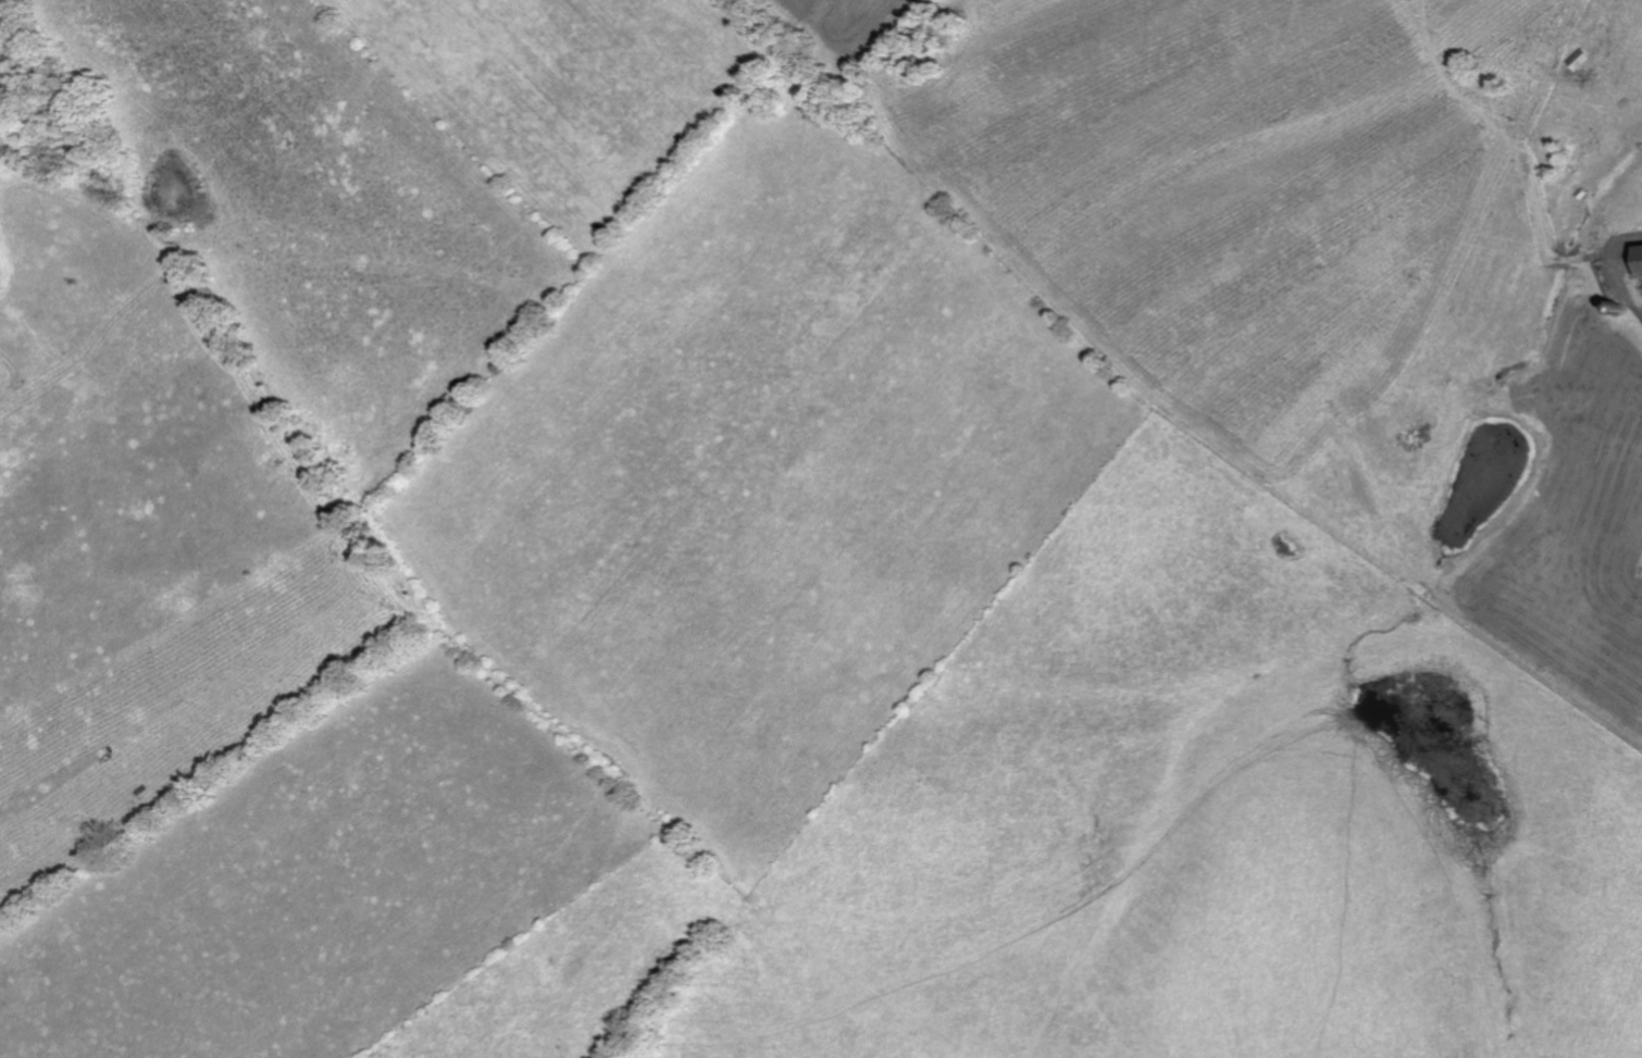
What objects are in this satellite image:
building: (1639, 261)

